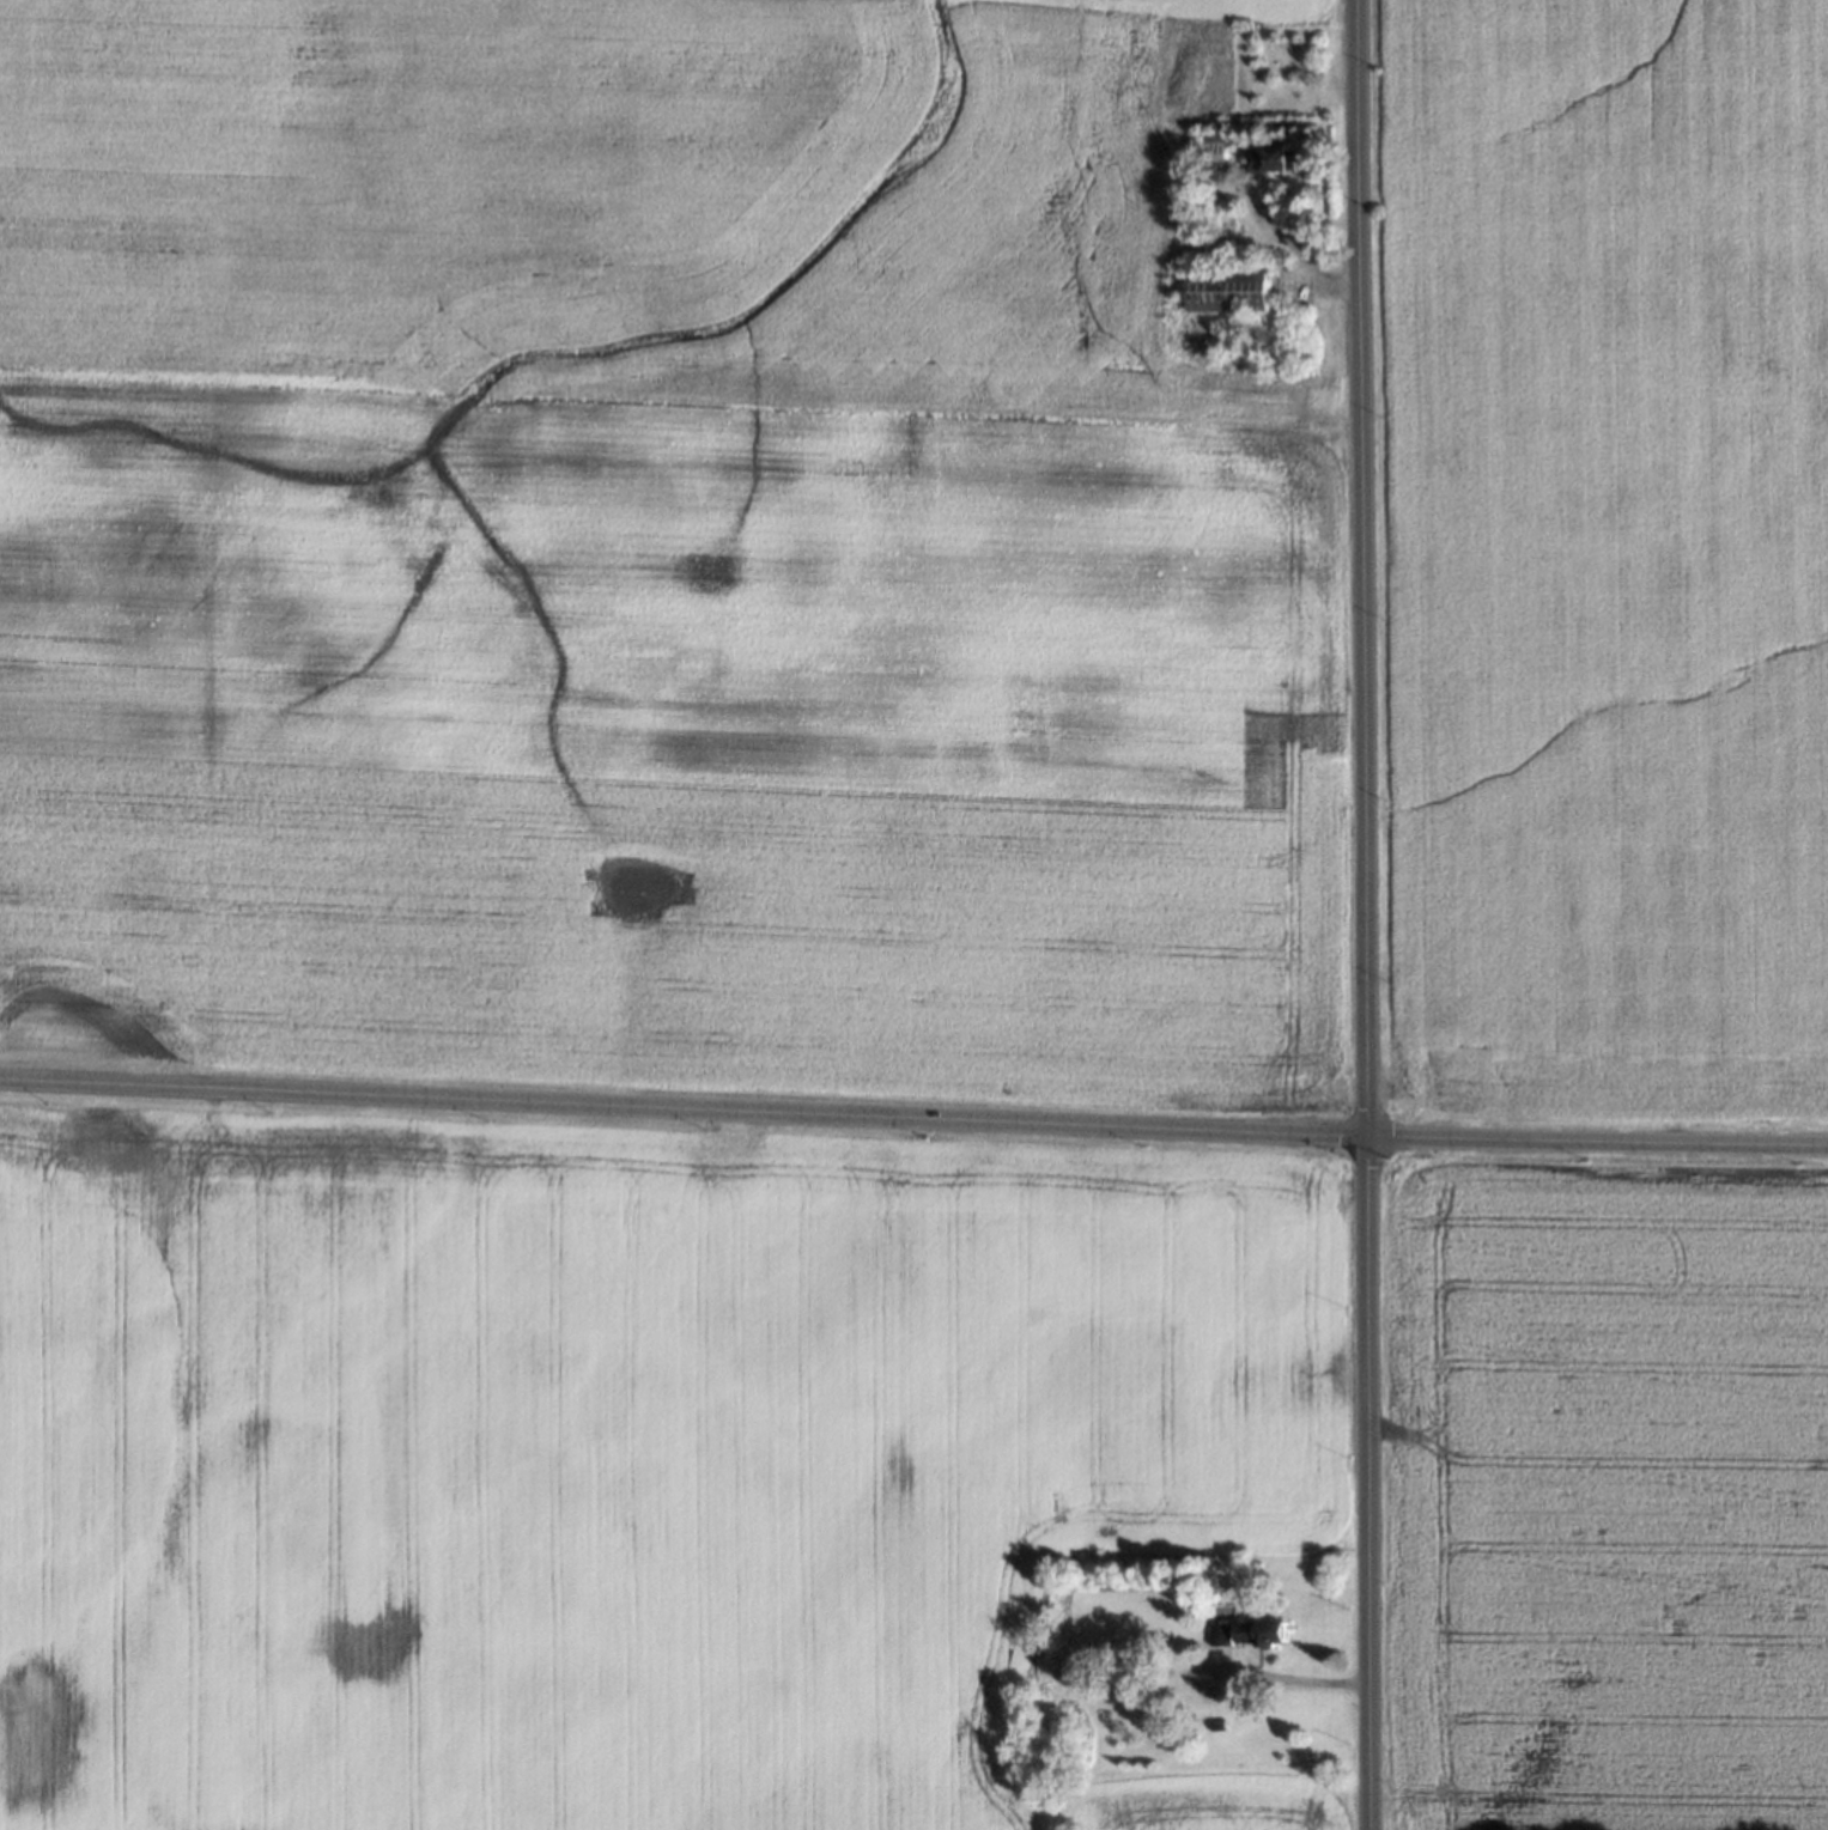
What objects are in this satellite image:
building: (1208, 145)
building: (1267, 157)
building: (1275, 256)
building: (1222, 290)
crop: (652, 559)
crop: (1602, 559)
road: (1365, 914)
road: (684, 1107)
road: (1597, 1139)
crop: (619, 1458)
crop: (1610, 1498)
building: (1259, 1628)
building: (1216, 1629)
road: (1283, 1676)
building: (1211, 1721)

